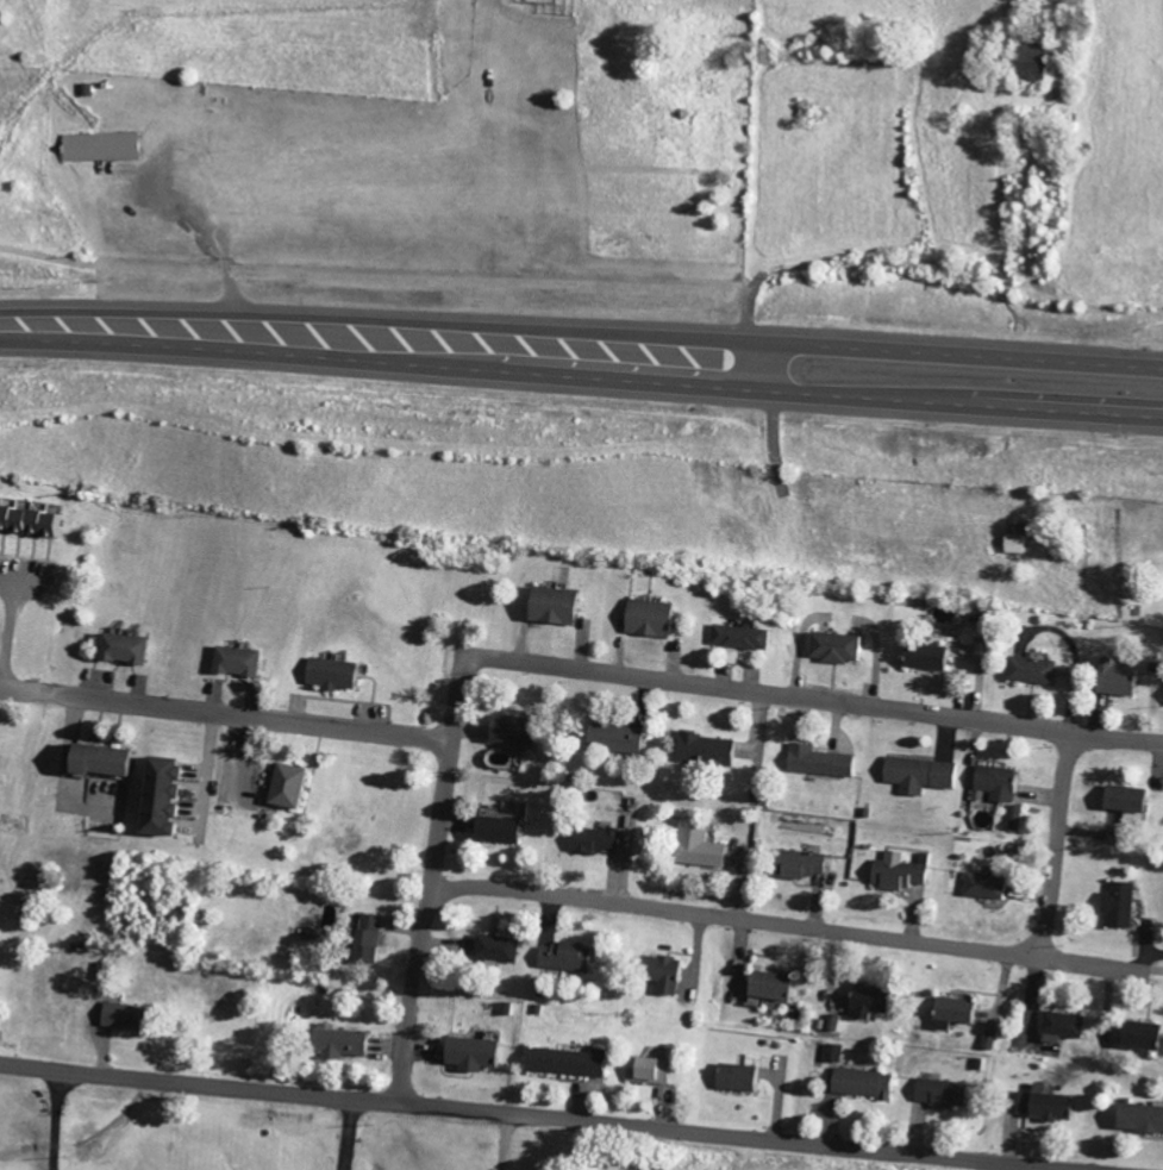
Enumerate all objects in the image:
building: (1039, 60)
building: (111, 145)
road: (352, 340)
road: (933, 352)
road: (931, 402)
building: (36, 518)
building: (1018, 543)
building: (561, 605)
building: (657, 618)
building: (748, 636)
building: (843, 646)
building: (130, 647)
building: (937, 656)
building: (243, 661)
building: (1037, 669)
building: (340, 672)
building: (1124, 678)
road: (801, 694)
road: (226, 708)
building: (519, 728)
building: (624, 738)
building: (713, 749)
building: (108, 758)
building: (823, 759)
building: (926, 774)
building: (1005, 782)
building: (295, 784)
building: (171, 795)
building: (1133, 799)
building: (1019, 817)
building: (602, 839)
road: (1058, 843)
building: (705, 847)
building: (811, 864)
building: (906, 870)
building: (993, 882)
road: (431, 889)
building: (1124, 903)
road: (788, 921)
building: (376, 938)
building: (502, 947)
building: (571, 956)
building: (674, 975)
building: (780, 986)
building: (880, 1001)
building: (963, 1012)
building: (133, 1015)
building: (1068, 1026)
building: (1146, 1034)
building: (348, 1043)
building: (481, 1052)
building: (839, 1052)
building: (573, 1062)
building: (656, 1070)
building: (746, 1077)
building: (869, 1083)
building: (949, 1091)
building: (1057, 1105)
road: (548, 1115)
road: (105, 1122)
road: (346, 1133)
road: (502, 1140)
road: (1033, 1166)

